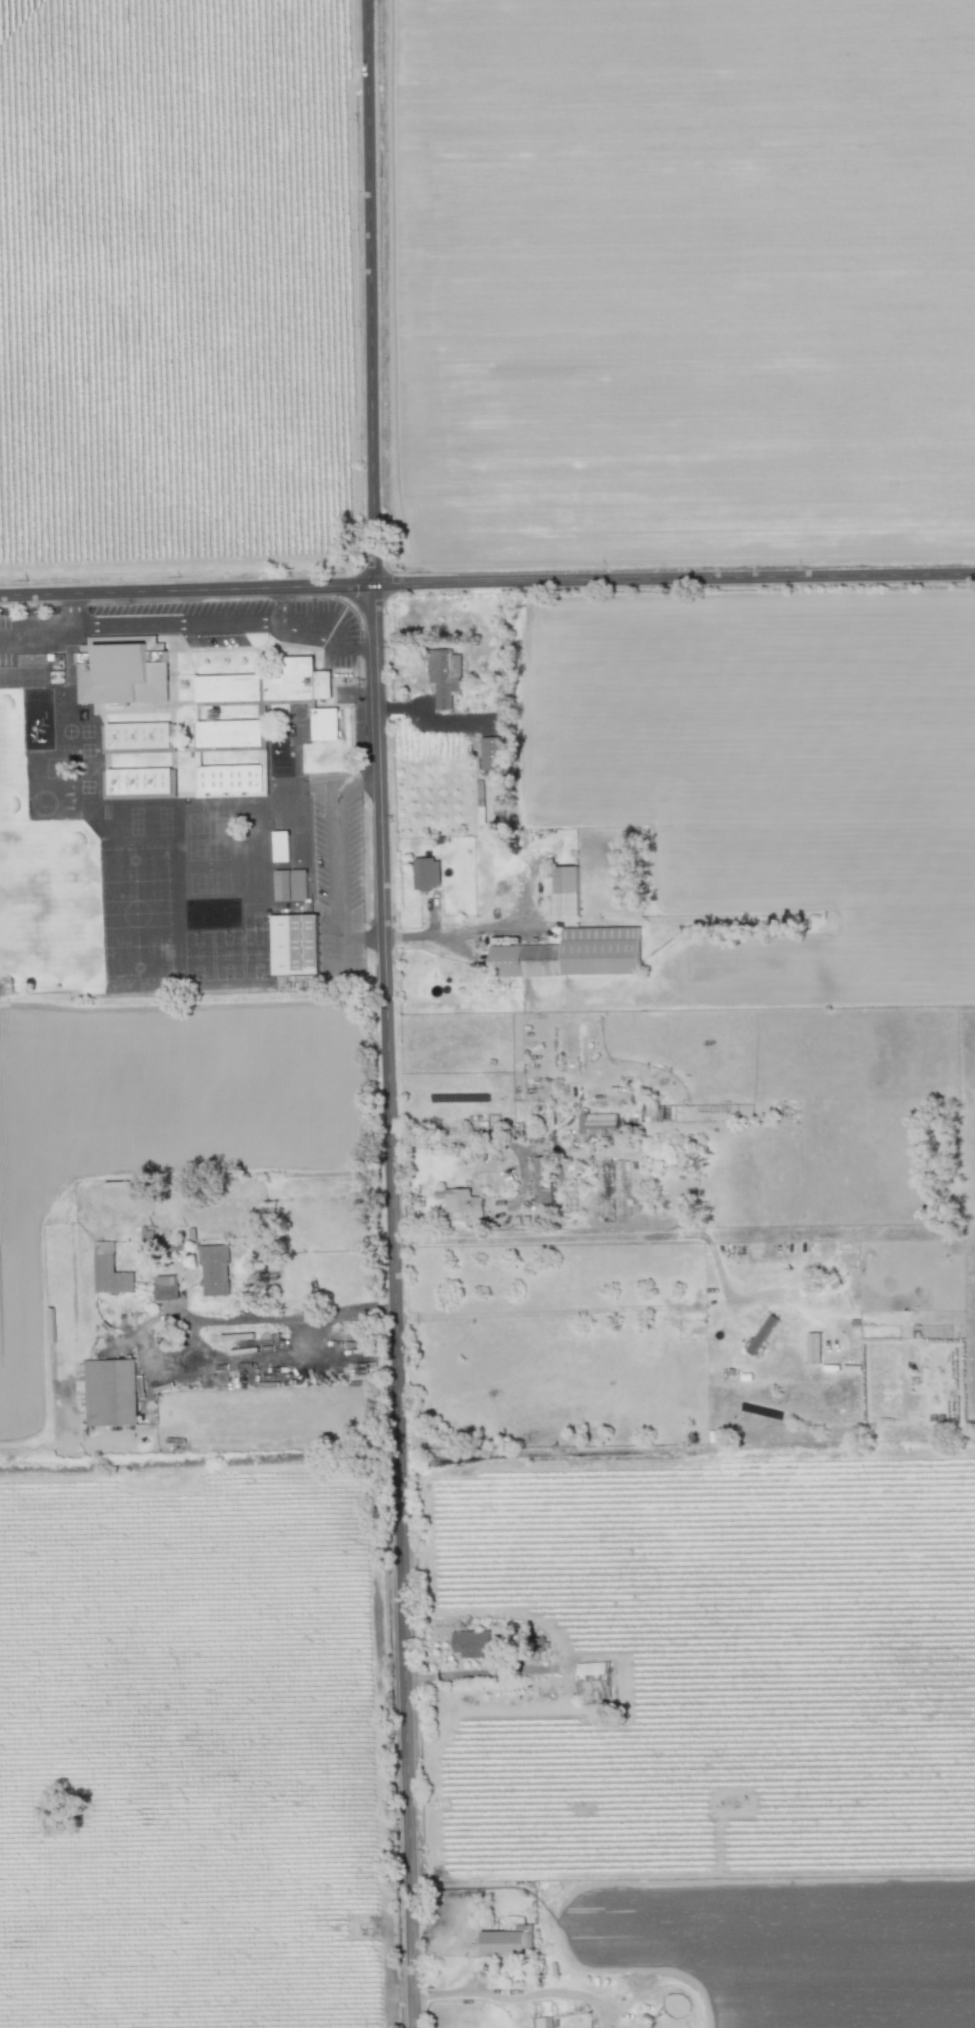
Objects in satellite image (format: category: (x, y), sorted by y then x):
road: (487, 582)
road: (281, 605)
road: (70, 611)
road: (228, 625)
road: (35, 631)
building: (121, 676)
building: (443, 676)
building: (264, 703)
road: (425, 724)
building: (138, 737)
building: (491, 753)
building: (229, 781)
building: (137, 783)
building: (497, 808)
building: (281, 846)
road: (337, 864)
building: (427, 874)
building: (290, 885)
building: (563, 891)
road: (435, 935)
building: (295, 945)
building: (572, 955)
road: (387, 1014)
building: (597, 1126)
building: (541, 1181)
building: (461, 1202)
road: (585, 1236)
building: (214, 1270)
building: (109, 1271)
building: (165, 1288)
road: (573, 1311)
road: (257, 1320)
building: (761, 1334)
building: (813, 1348)
building: (110, 1393)
building: (470, 1643)
building: (593, 1681)
building: (501, 1944)
road: (517, 1999)

